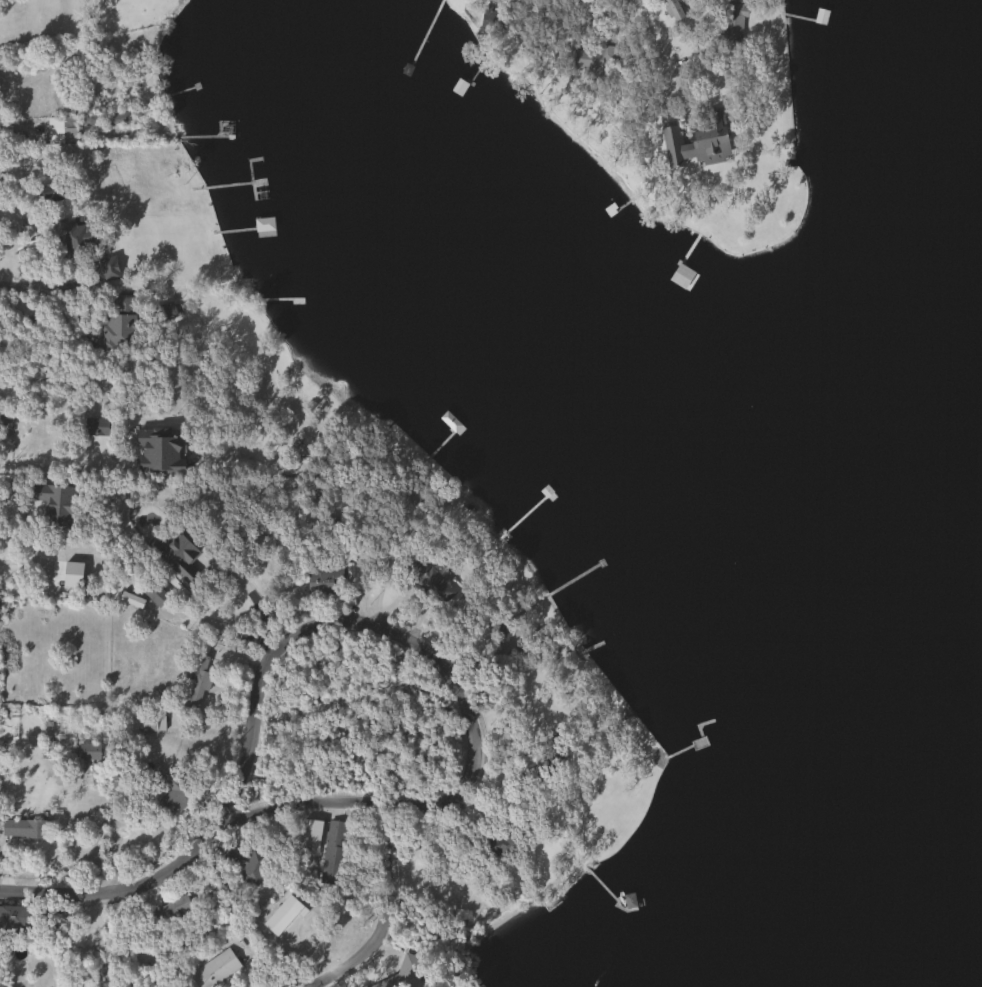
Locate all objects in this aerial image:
building: (672, 9)
building: (733, 19)
building: (495, 20)
road: (554, 26)
road: (647, 32)
building: (593, 51)
building: (116, 116)
building: (61, 129)
road: (15, 130)
building: (696, 143)
road: (26, 206)
building: (71, 245)
building: (36, 251)
building: (680, 276)
road: (22, 286)
building: (118, 323)
building: (95, 427)
building: (24, 438)
road: (67, 458)
building: (55, 504)
road: (31, 543)
building: (174, 553)
building: (434, 587)
building: (153, 597)
road: (253, 599)
building: (497, 626)
road: (452, 663)
building: (197, 680)
building: (152, 723)
building: (88, 751)
building: (172, 792)
building: (25, 829)
building: (309, 834)
building: (332, 853)
building: (244, 865)
road: (126, 886)
road: (398, 914)
building: (17, 917)
building: (213, 969)
building: (386, 983)

